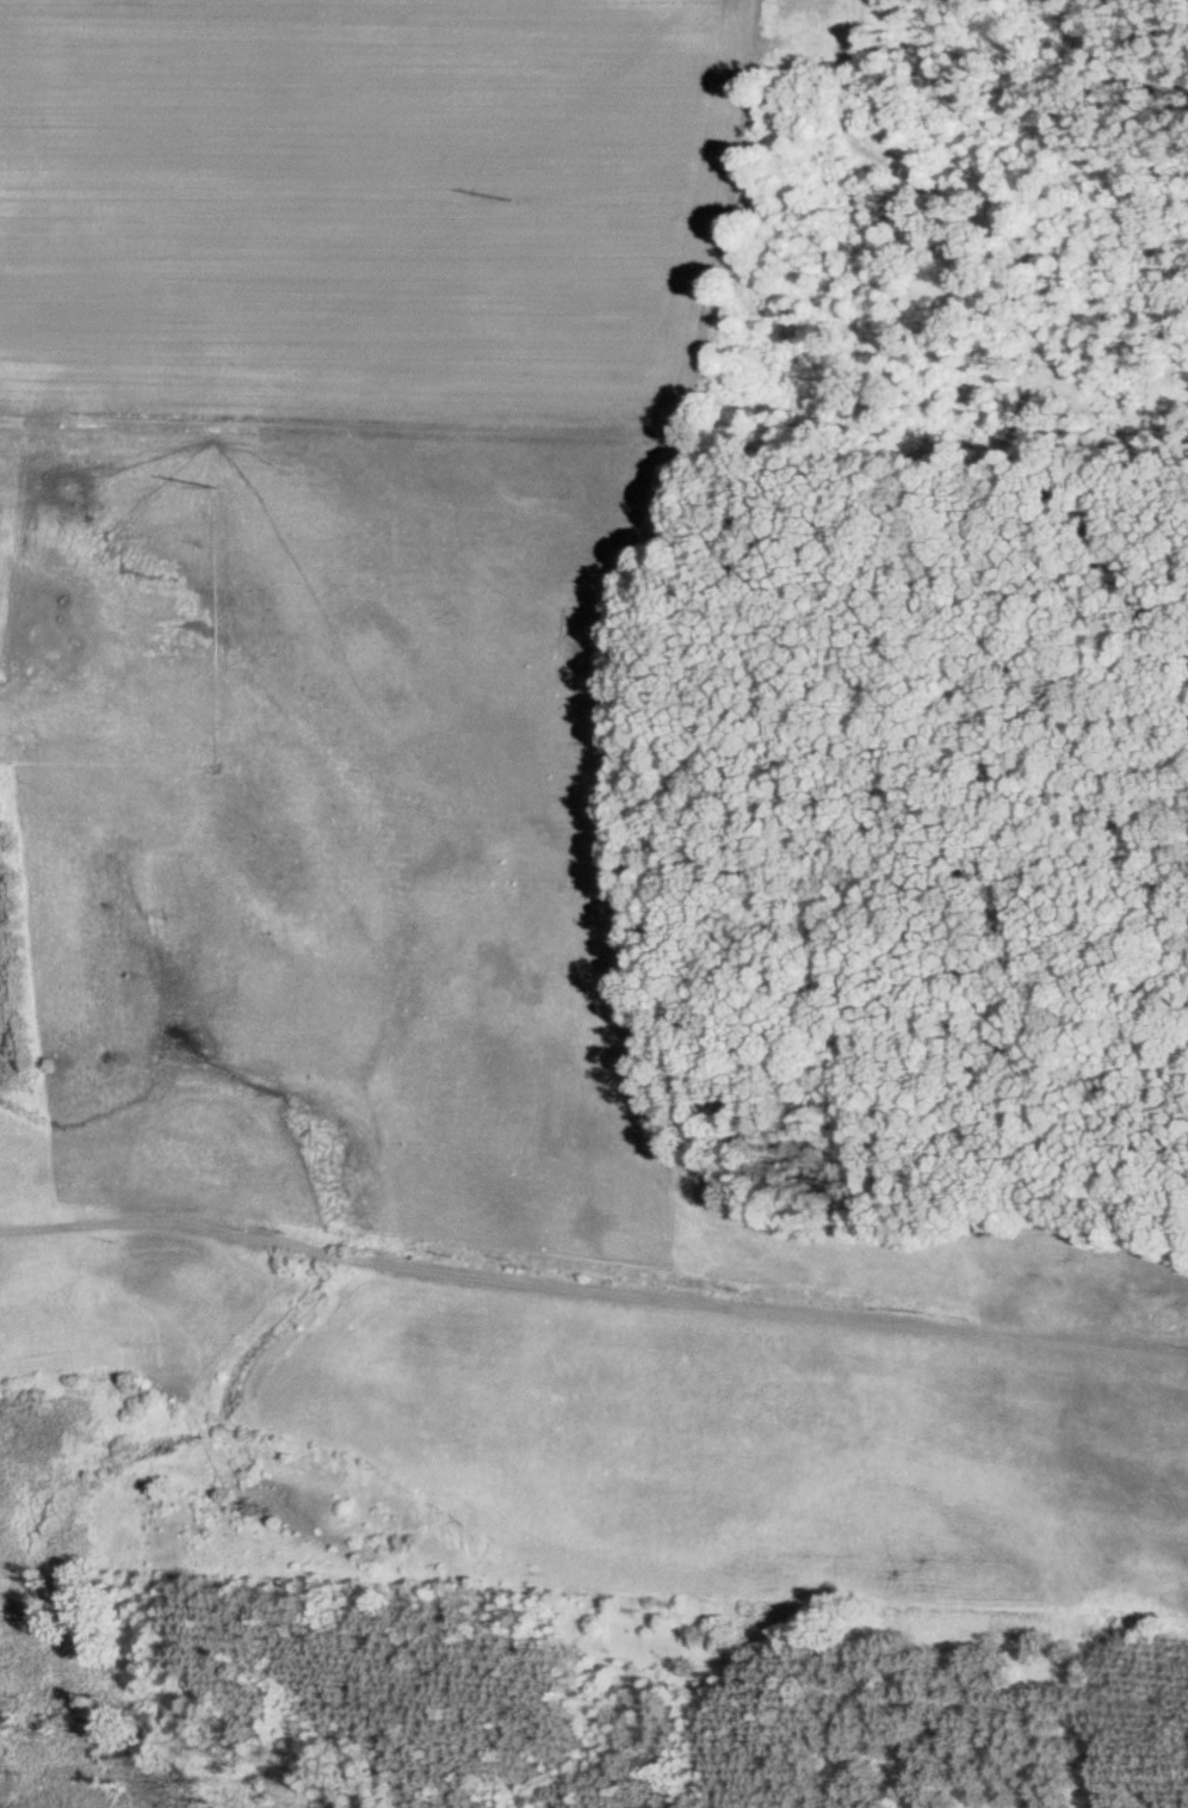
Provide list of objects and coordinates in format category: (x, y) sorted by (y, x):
road: (81, 1702)

